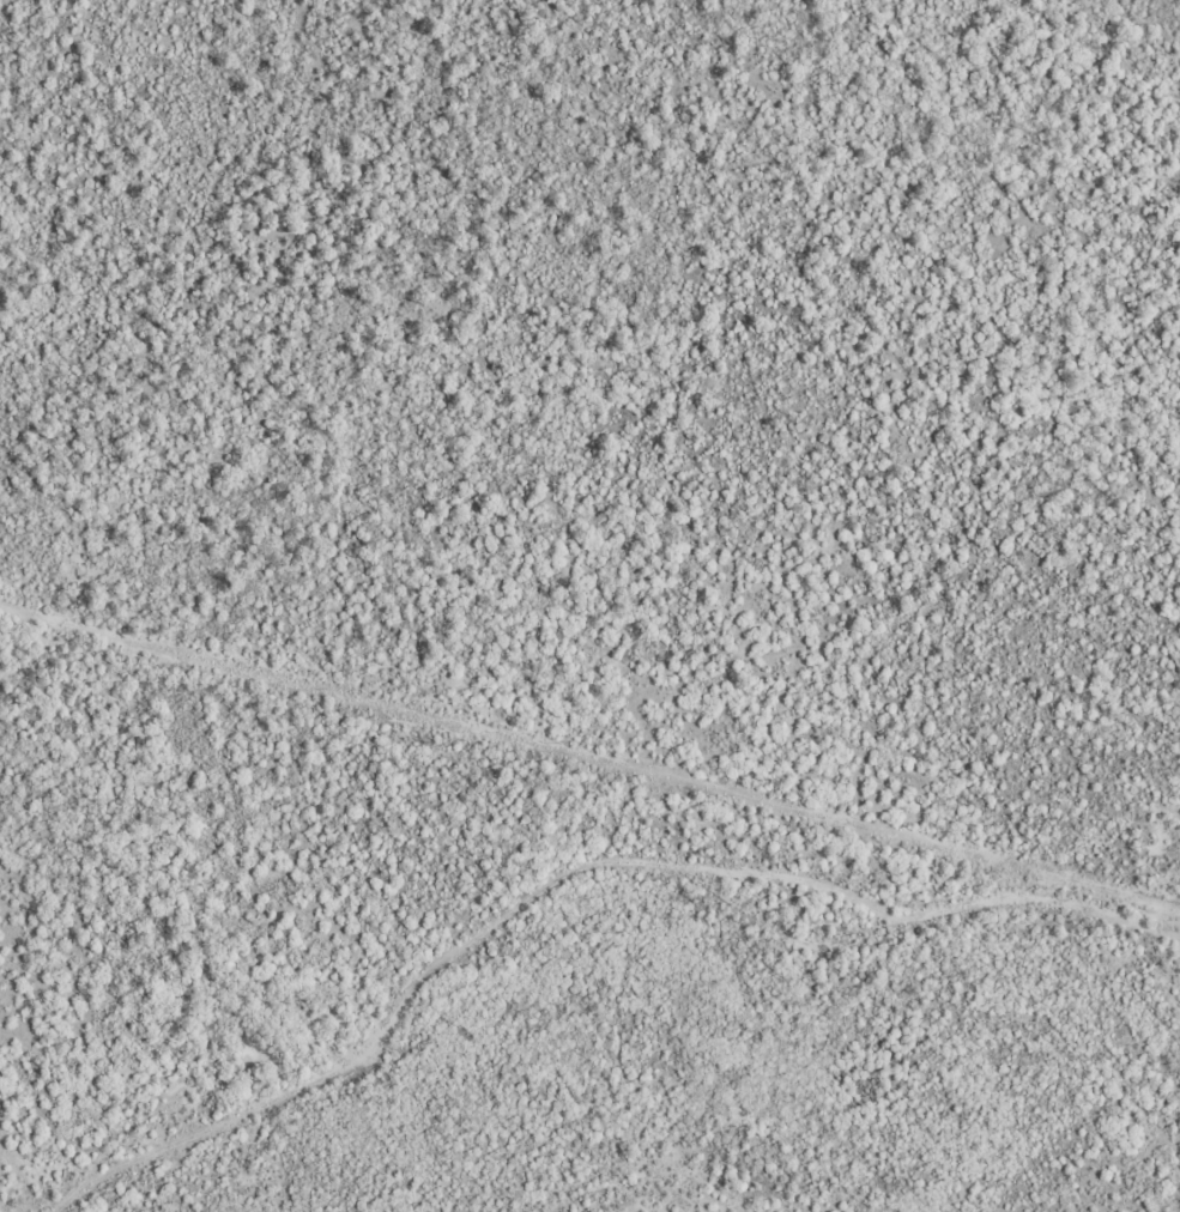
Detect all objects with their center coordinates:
road: (605, 860)

